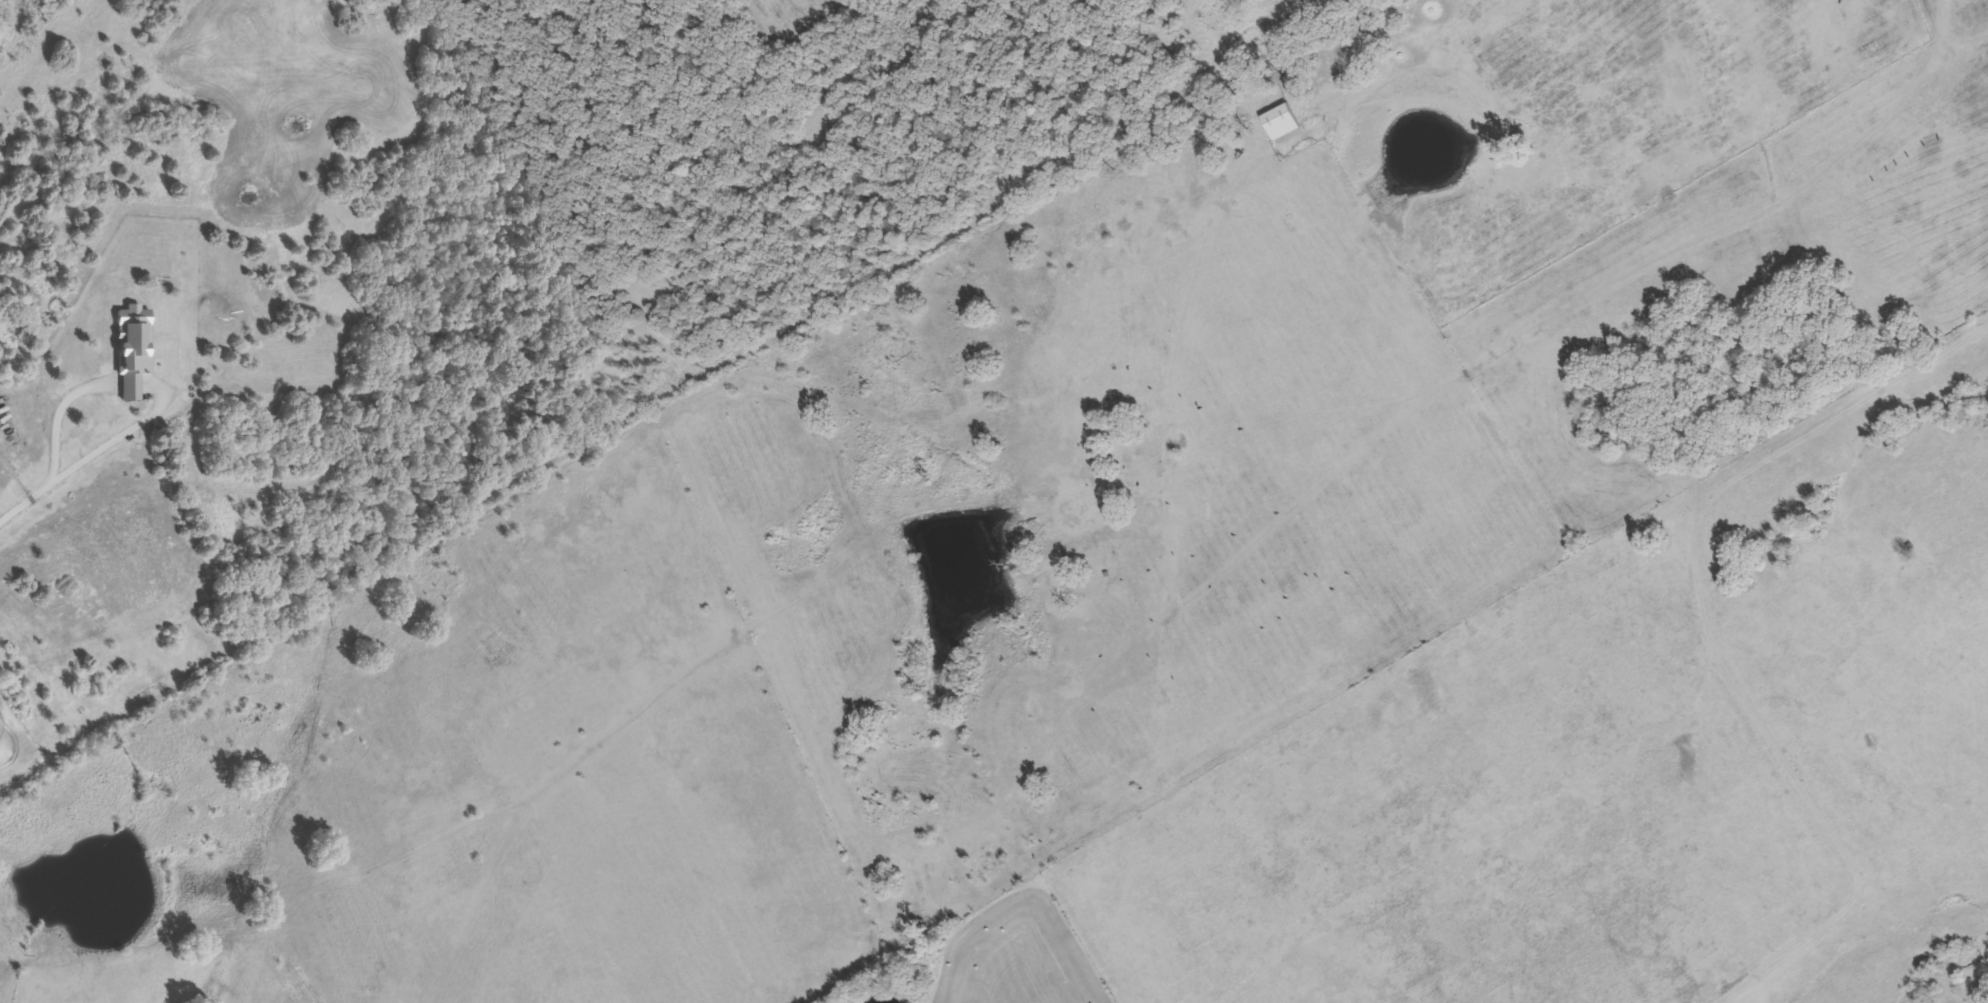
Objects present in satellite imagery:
building: (1281, 120)
road: (87, 458)
road: (862, 616)
road: (1711, 637)

